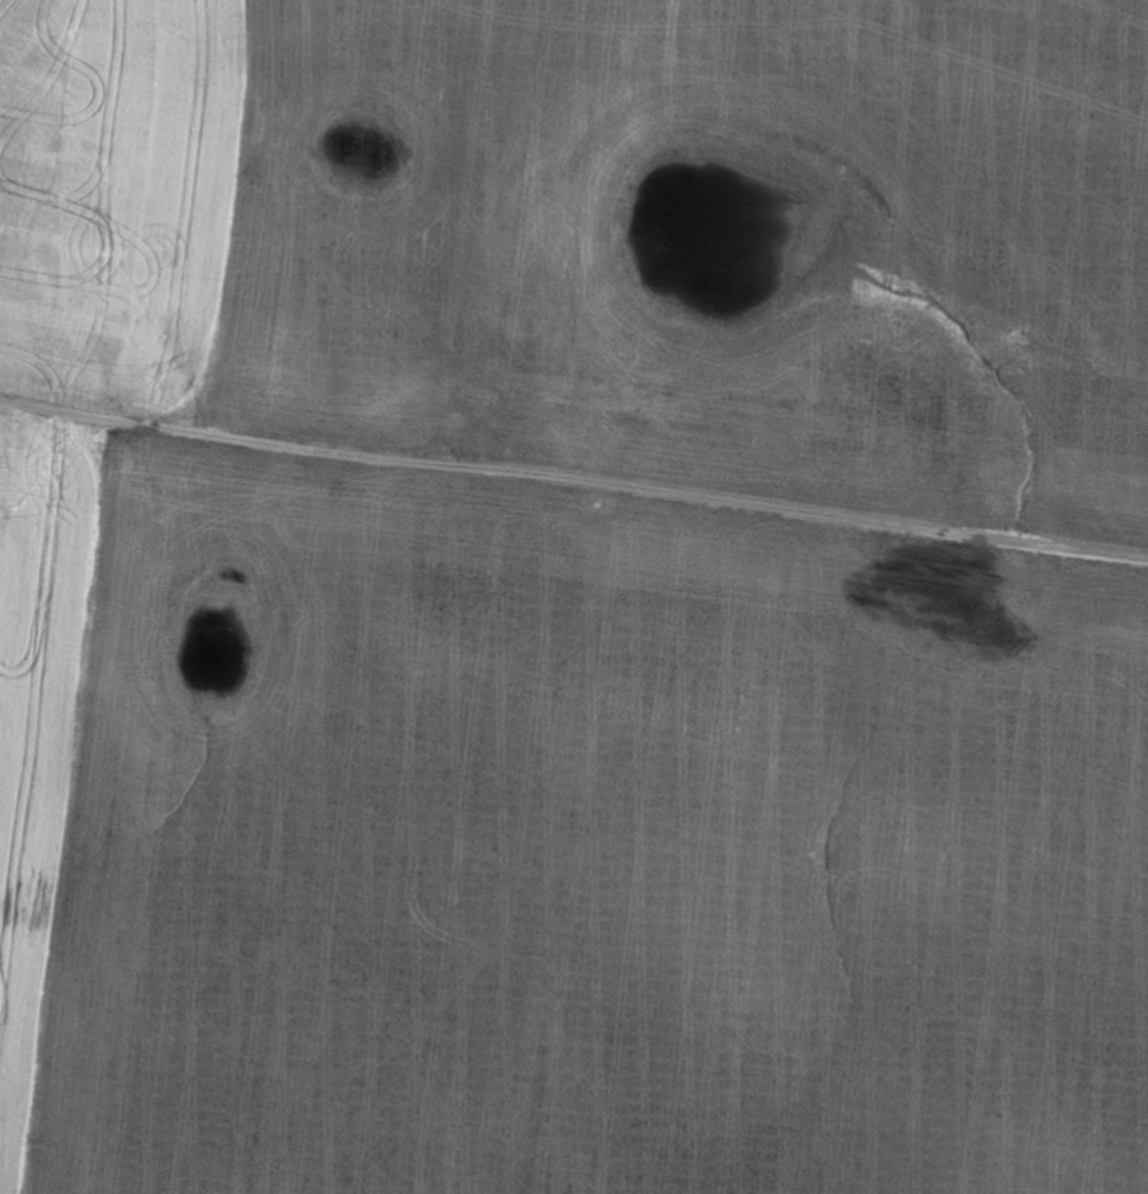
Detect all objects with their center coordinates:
road: (569, 243)
road: (573, 491)
road: (697, 700)

